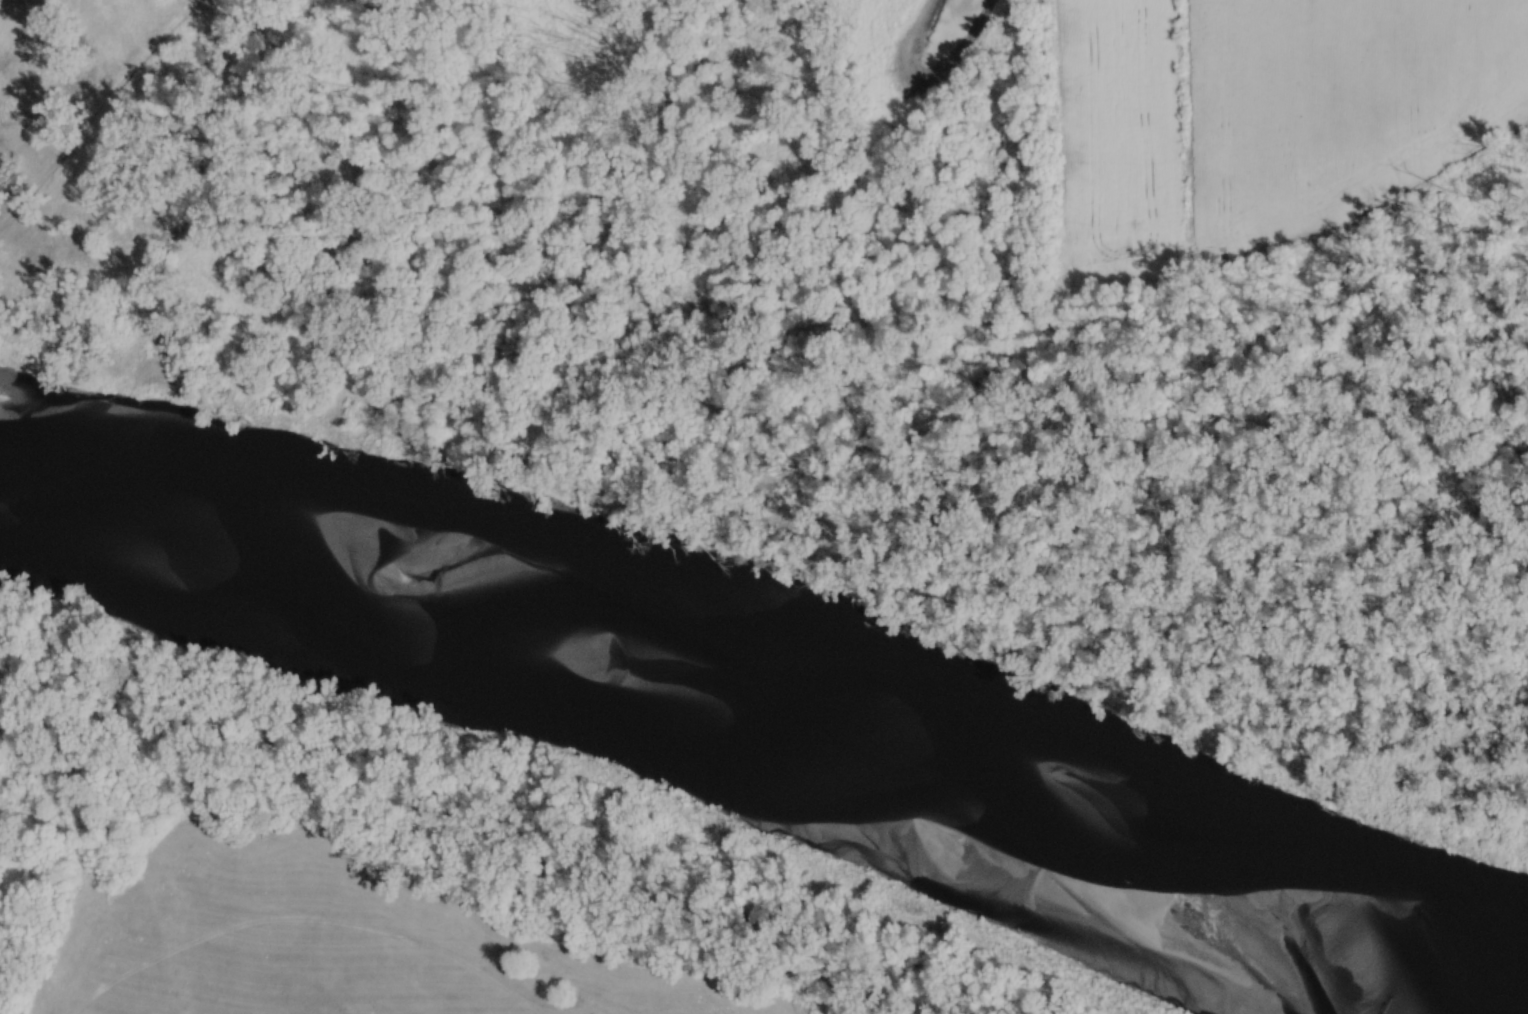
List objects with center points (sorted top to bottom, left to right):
road: (132, 224)
road: (351, 440)
river: (774, 646)

